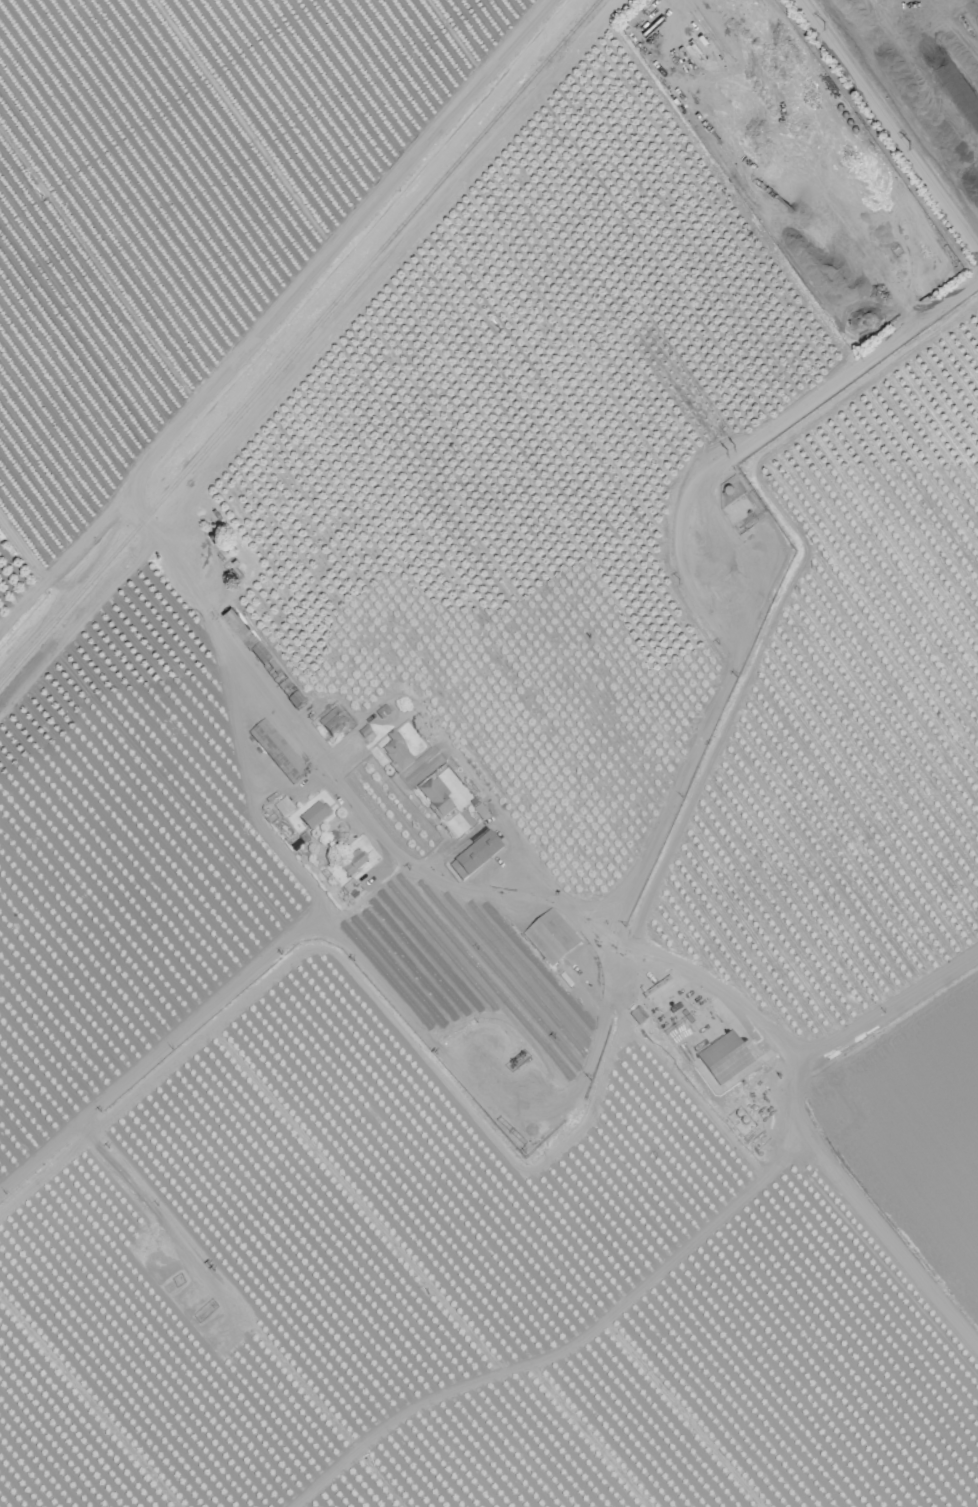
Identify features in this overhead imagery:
railway: (298, 341)
road: (711, 615)
building: (245, 636)
building: (332, 721)
building: (277, 751)
building: (396, 753)
building: (436, 796)
building: (283, 806)
building: (314, 814)
road: (382, 839)
building: (475, 856)
building: (353, 863)
building: (551, 937)
building: (725, 1058)
road: (800, 1126)

